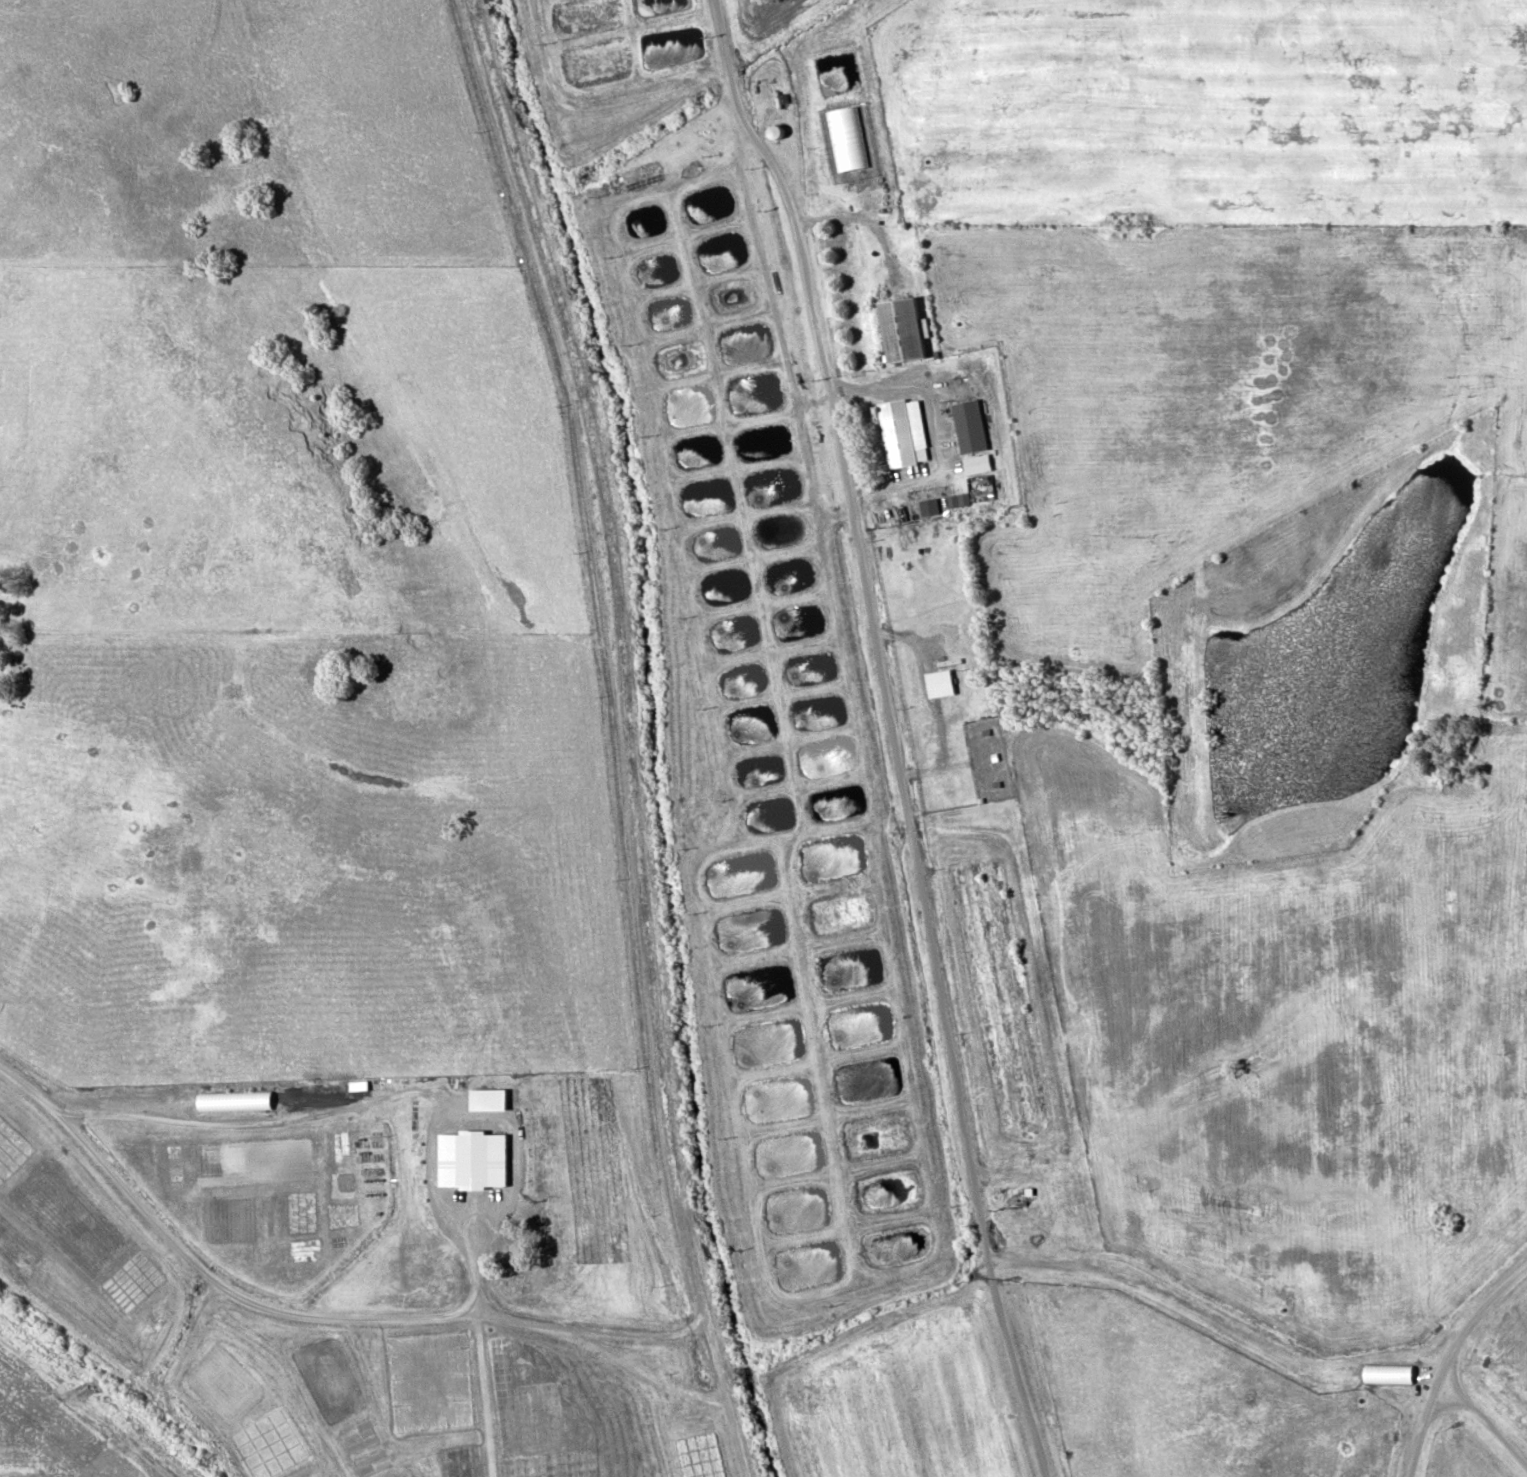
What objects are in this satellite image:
building: (846, 137)
building: (900, 327)
building: (968, 424)
building: (902, 430)
building: (976, 462)
road: (610, 662)
building: (938, 681)
road: (888, 733)
building: (490, 1094)
building: (233, 1099)
building: (484, 1160)
building: (444, 1164)
road: (301, 1313)
road: (1474, 1322)
road: (716, 1365)
building: (1387, 1370)
road: (1484, 1417)
road: (1422, 1431)
road: (736, 1439)

